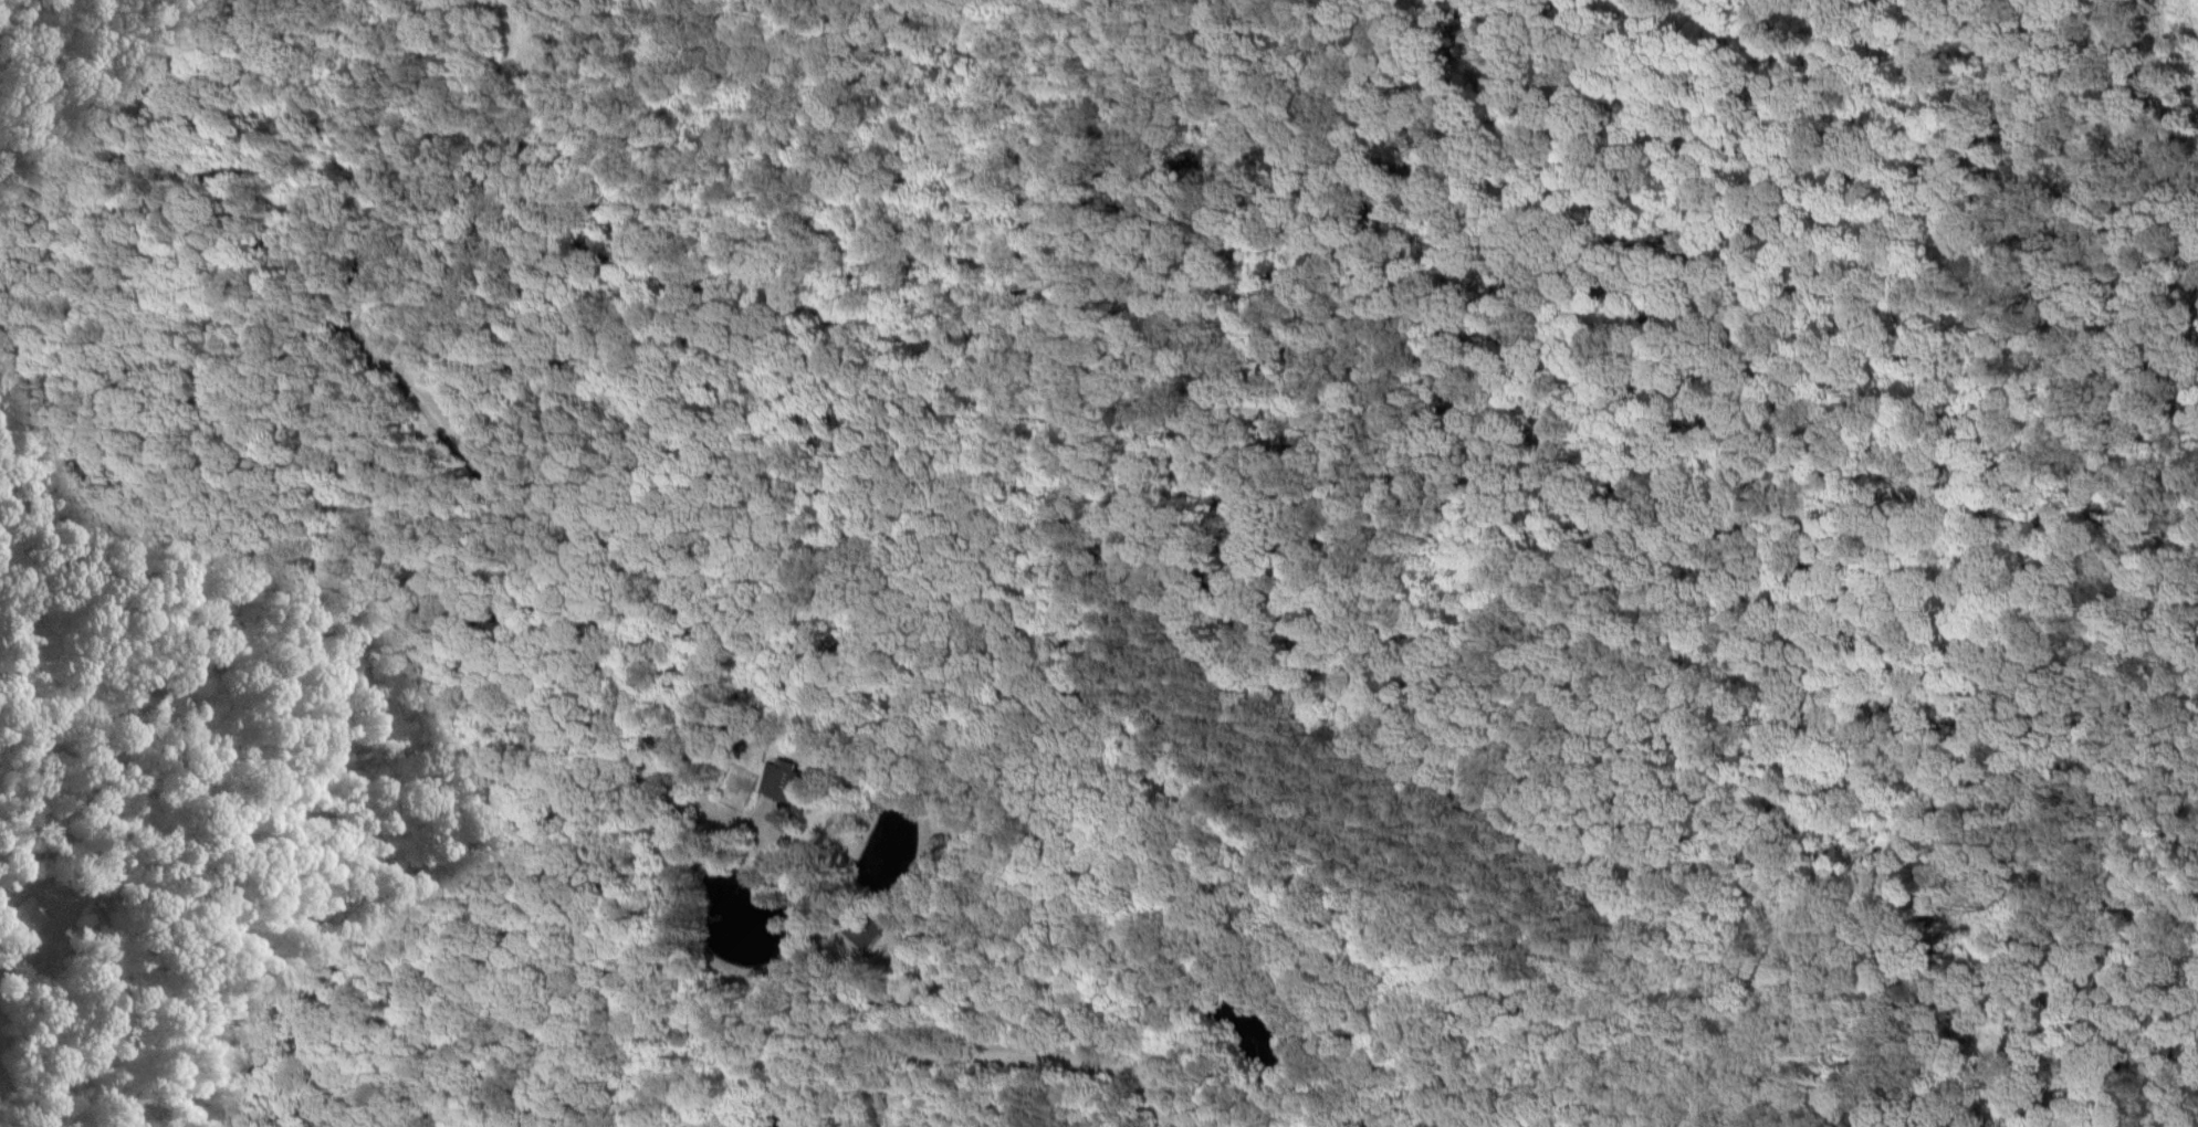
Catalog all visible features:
road: (2167, 49)
building: (781, 780)
building: (21, 918)
building: (866, 931)
road: (2058, 938)
road: (831, 949)
road: (1026, 1049)

